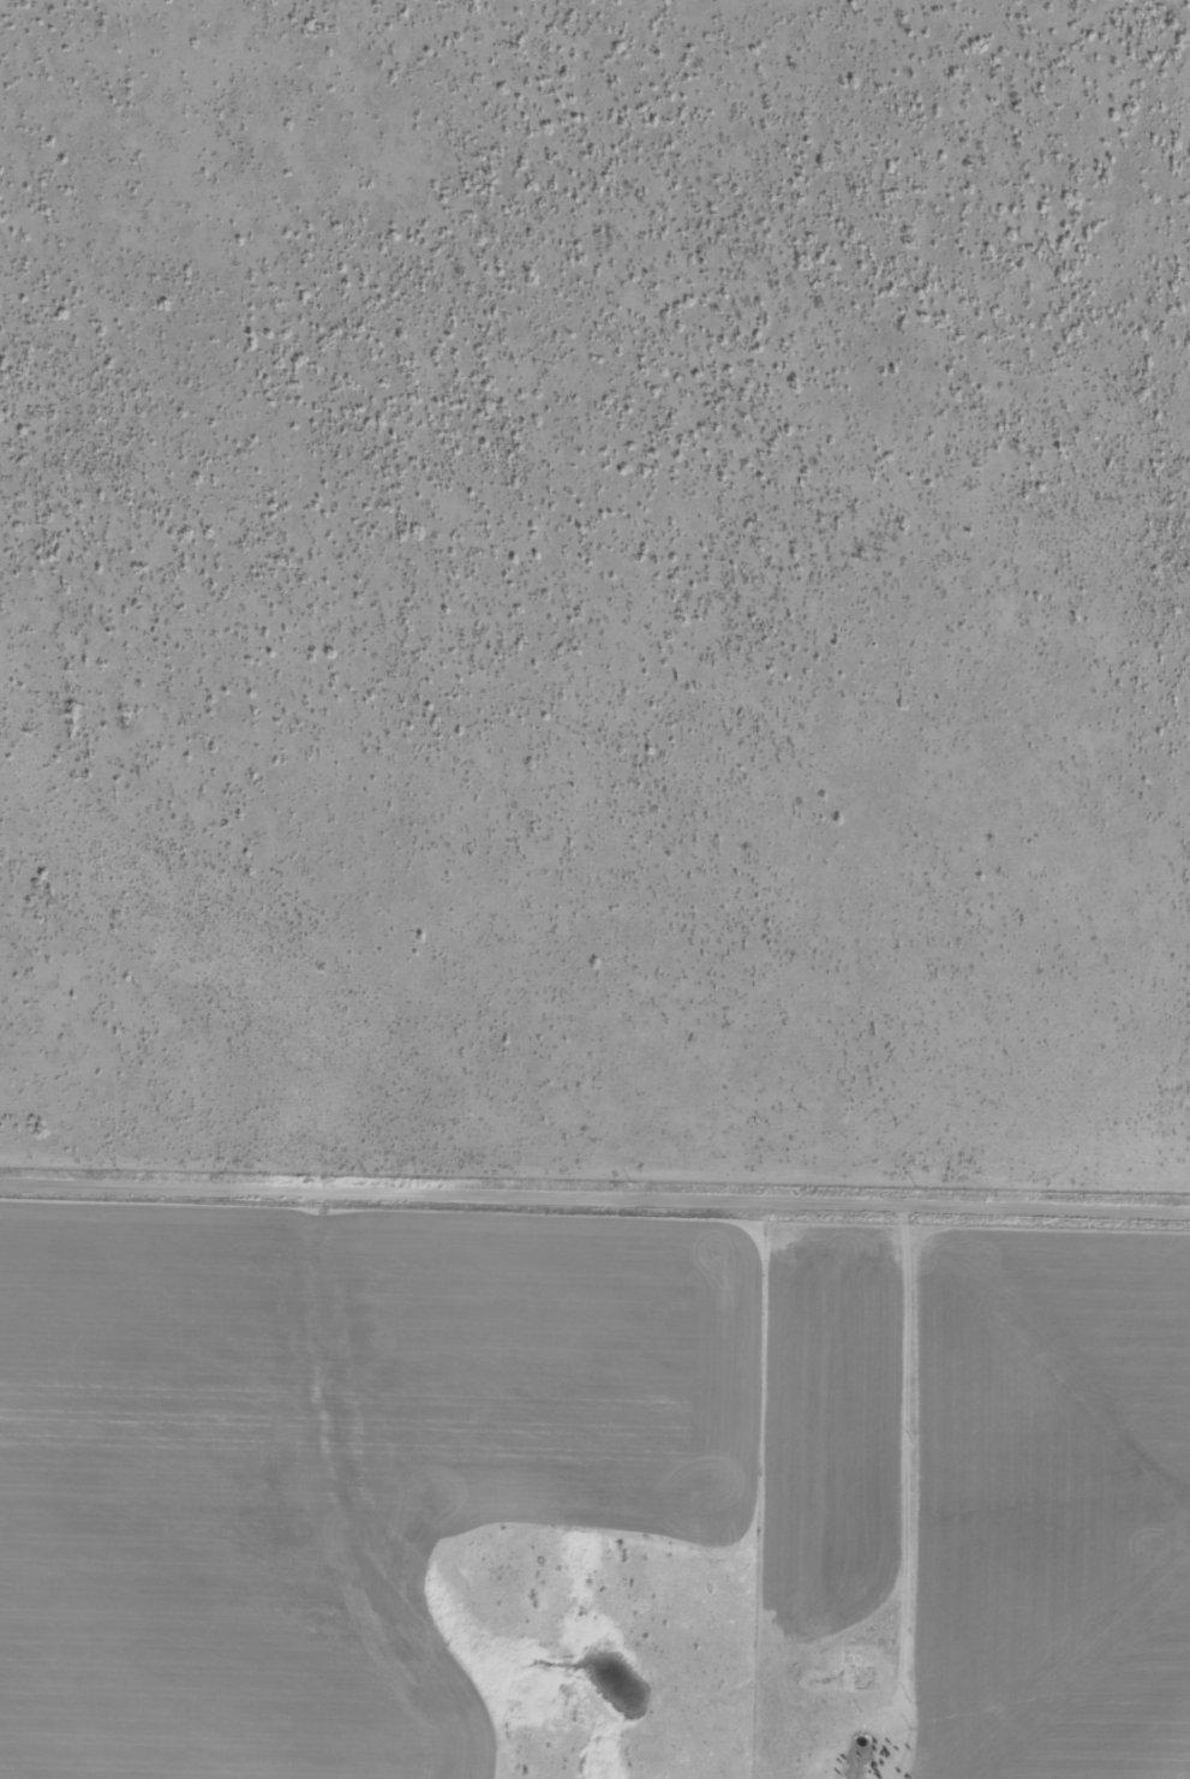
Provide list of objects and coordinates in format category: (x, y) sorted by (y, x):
road: (594, 1195)
road: (893, 1502)

